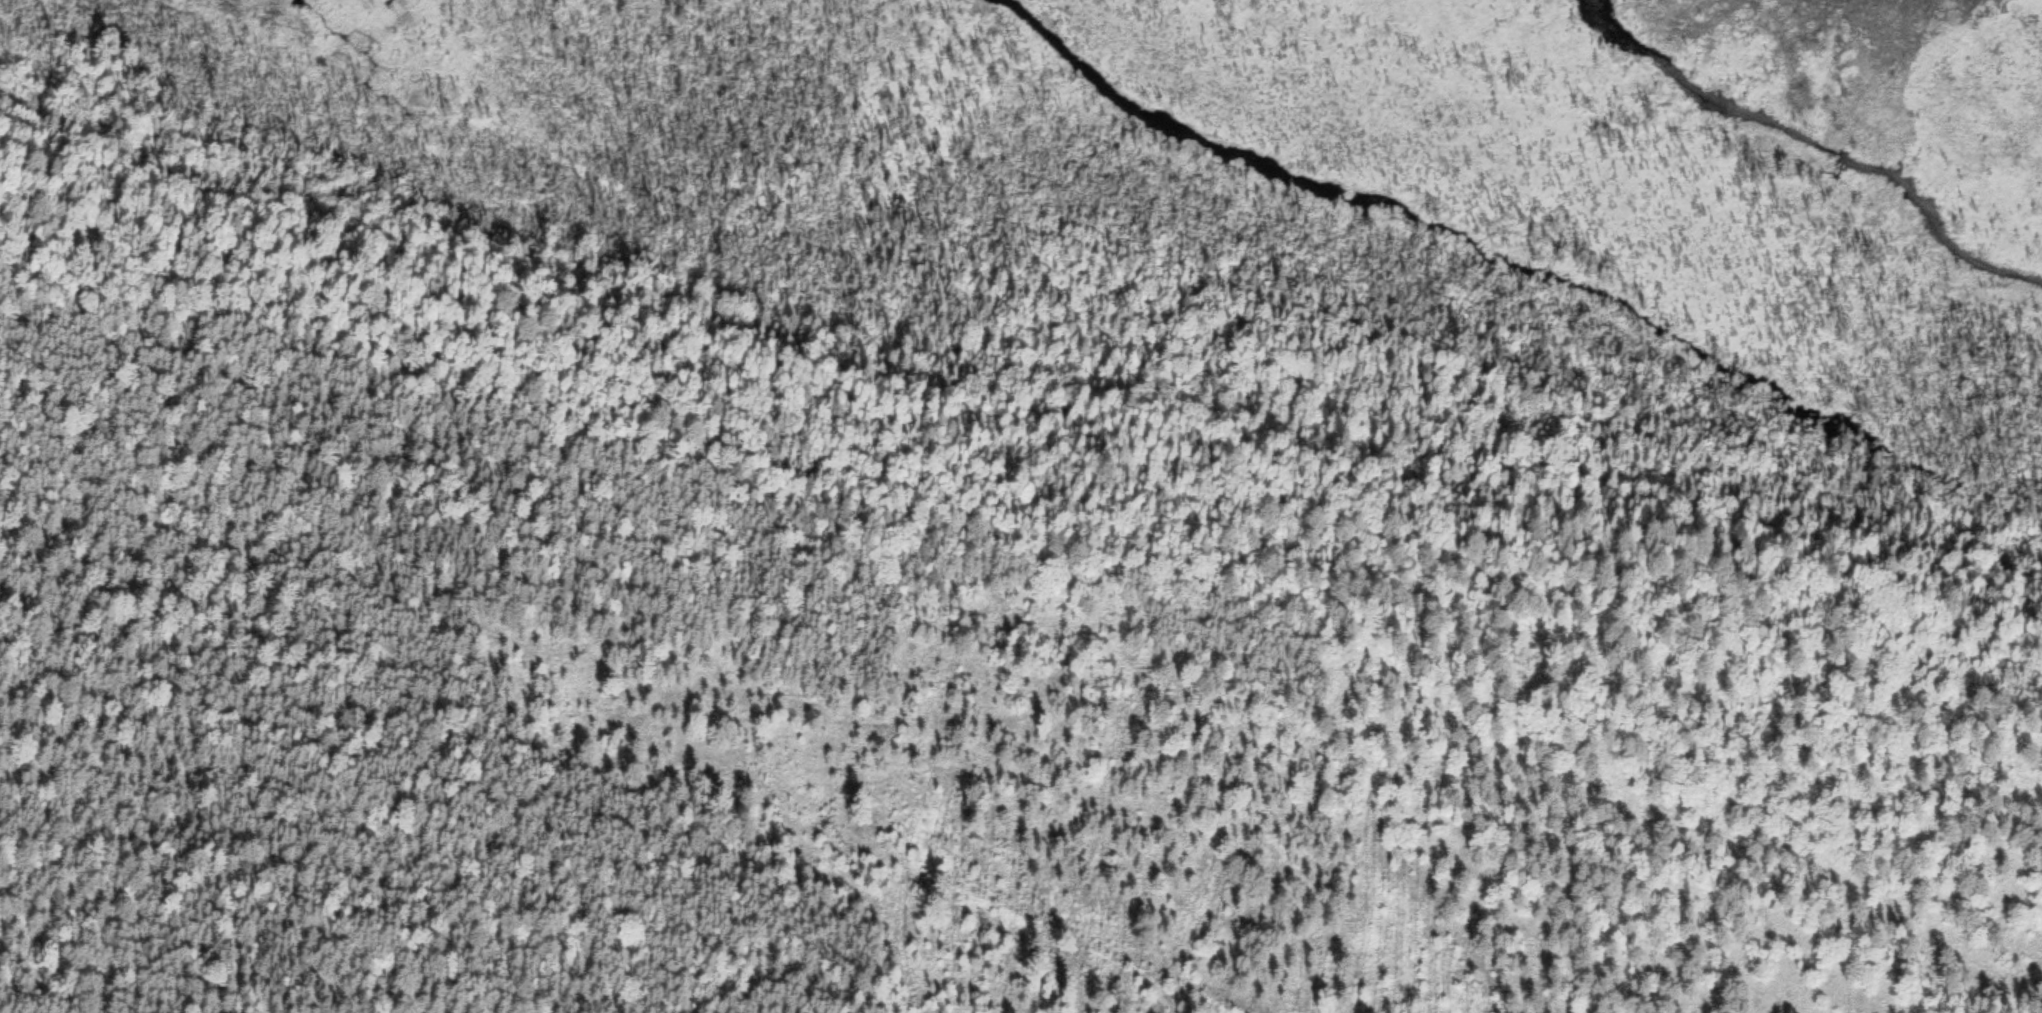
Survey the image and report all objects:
road: (74, 1002)

